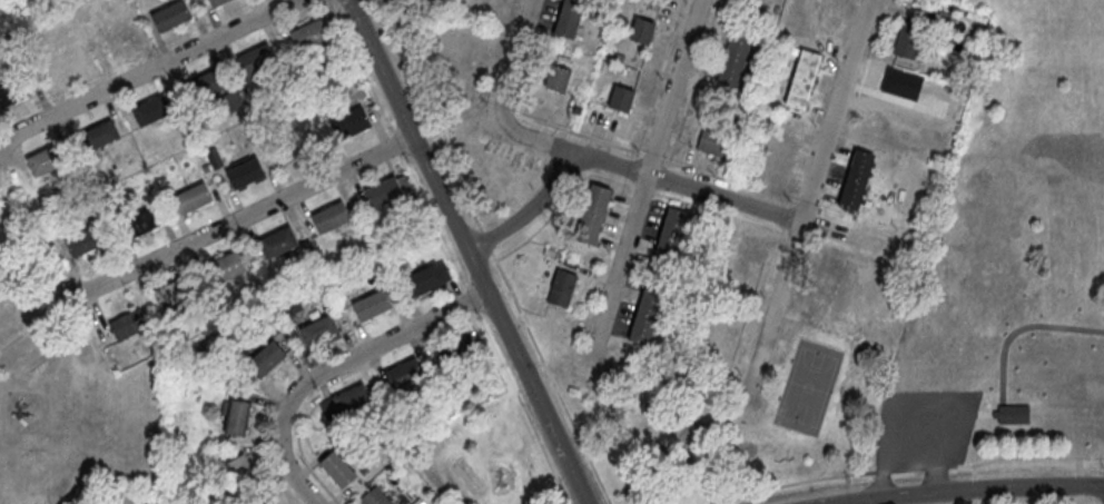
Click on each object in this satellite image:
building: (218, 2)
building: (491, 7)
building: (172, 16)
building: (571, 19)
building: (641, 29)
building: (310, 34)
building: (117, 40)
building: (736, 58)
road: (513, 59)
building: (257, 60)
building: (67, 67)
road: (147, 70)
building: (802, 78)
building: (560, 79)
building: (205, 86)
building: (14, 91)
building: (621, 97)
building: (151, 110)
building: (352, 123)
building: (100, 136)
building: (714, 142)
building: (780, 155)
building: (47, 161)
building: (247, 172)
road: (644, 177)
building: (856, 178)
building: (385, 191)
road: (700, 191)
building: (194, 198)
road: (806, 200)
road: (528, 211)
building: (593, 214)
road: (239, 217)
building: (332, 217)
building: (141, 224)
building: (670, 231)
building: (85, 241)
building: (279, 243)
building: (995, 243)
road: (465, 251)
road: (491, 251)
building: (226, 268)
building: (425, 279)
building: (824, 284)
building: (562, 287)
building: (174, 293)
building: (373, 306)
building: (1051, 310)
building: (645, 314)
road: (34, 325)
building: (129, 325)
building: (319, 332)
building: (457, 349)
building: (269, 355)
road: (332, 367)
building: (406, 375)
building: (353, 399)
park: (73, 404)
building: (235, 416)
park: (724, 421)
building: (659, 453)
road: (904, 467)
building: (338, 470)
building: (241, 471)
road: (970, 491)
building: (374, 497)
road: (857, 502)
building: (268, 503)
road: (1039, 503)

